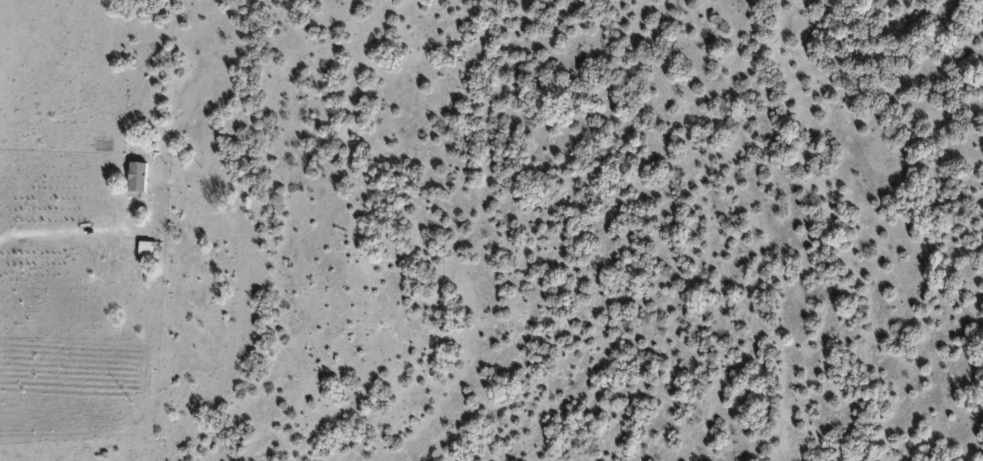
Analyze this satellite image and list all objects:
building: (134, 178)

